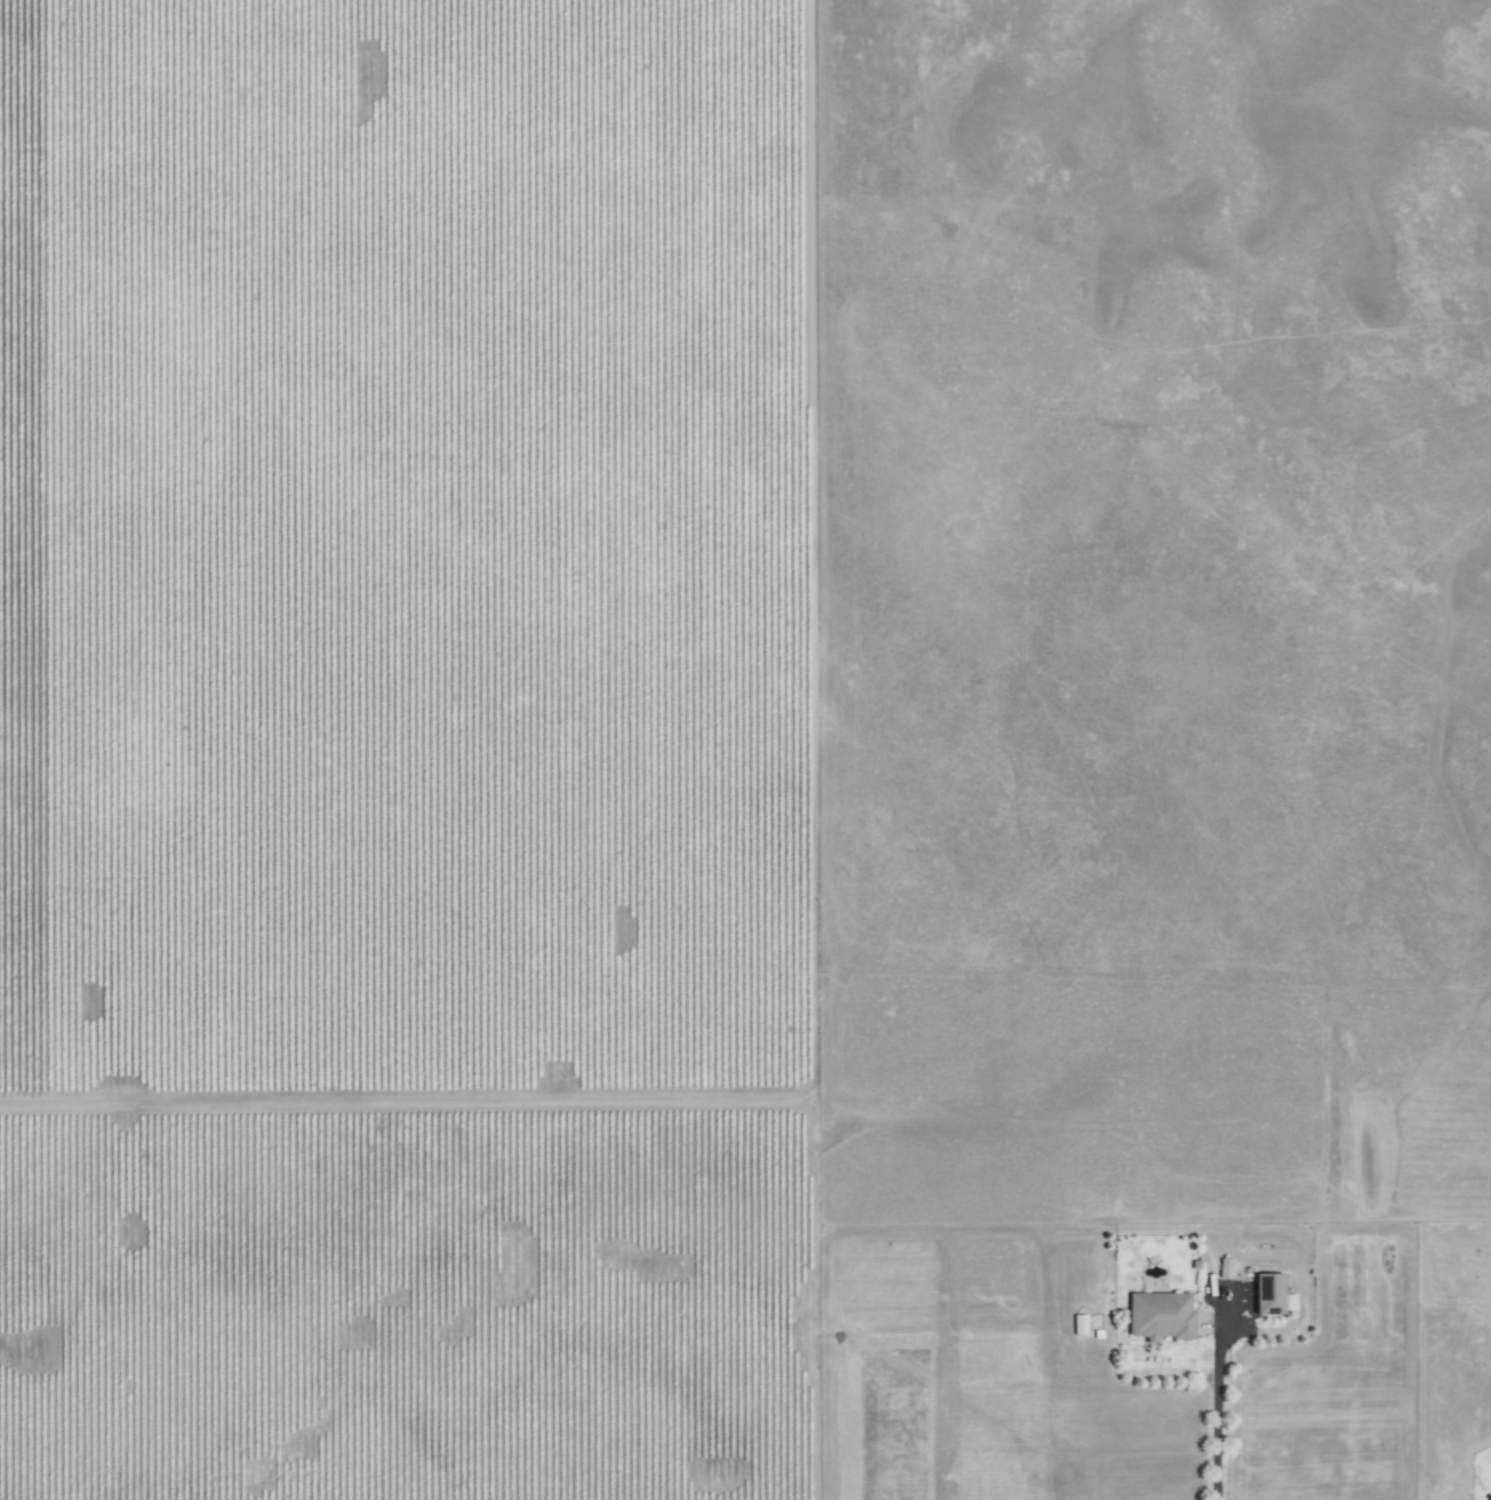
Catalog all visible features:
building: (1266, 1295)
building: (1321, 1301)
building: (1159, 1317)
road: (1218, 1413)

